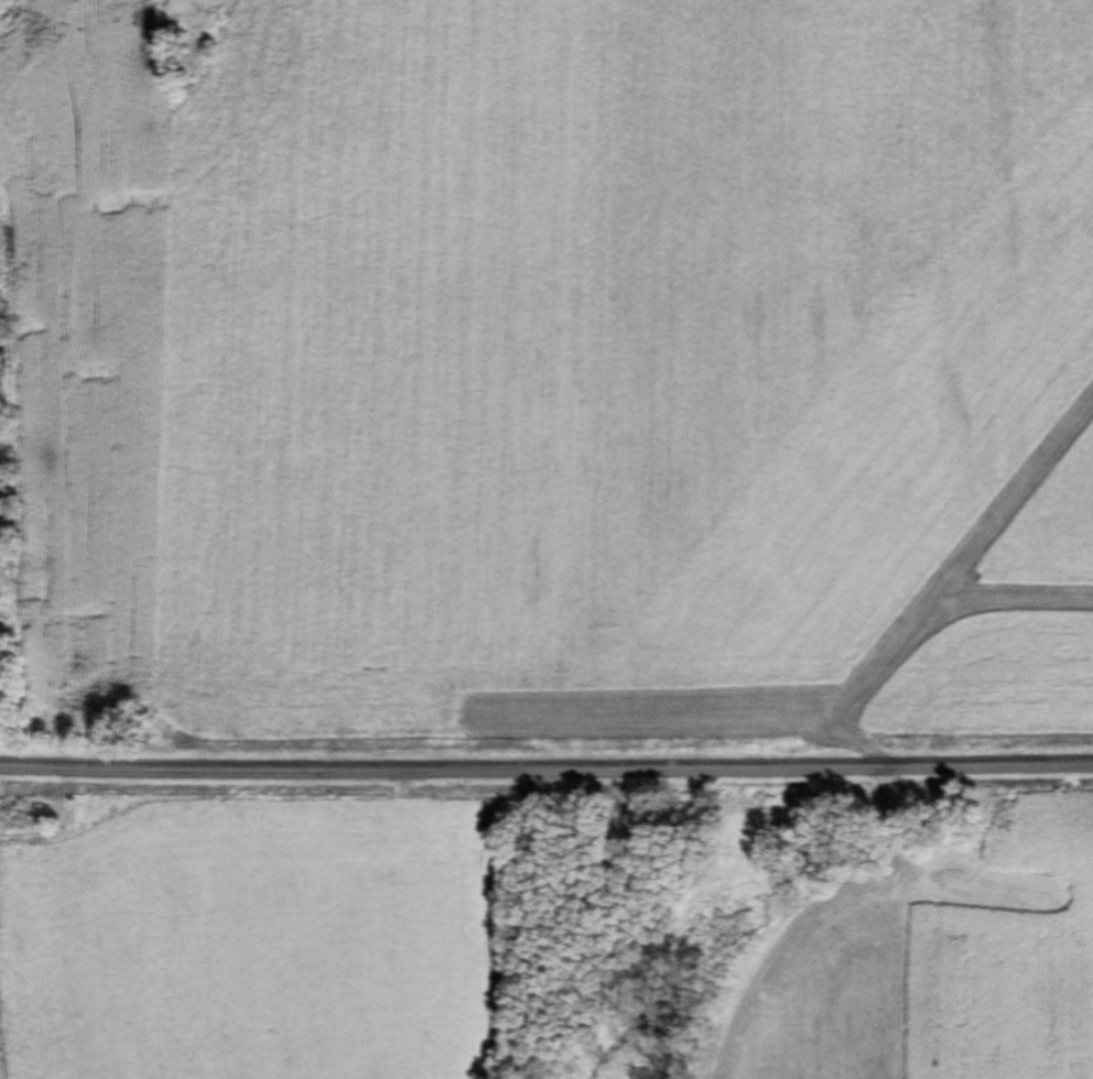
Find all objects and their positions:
road: (546, 767)

